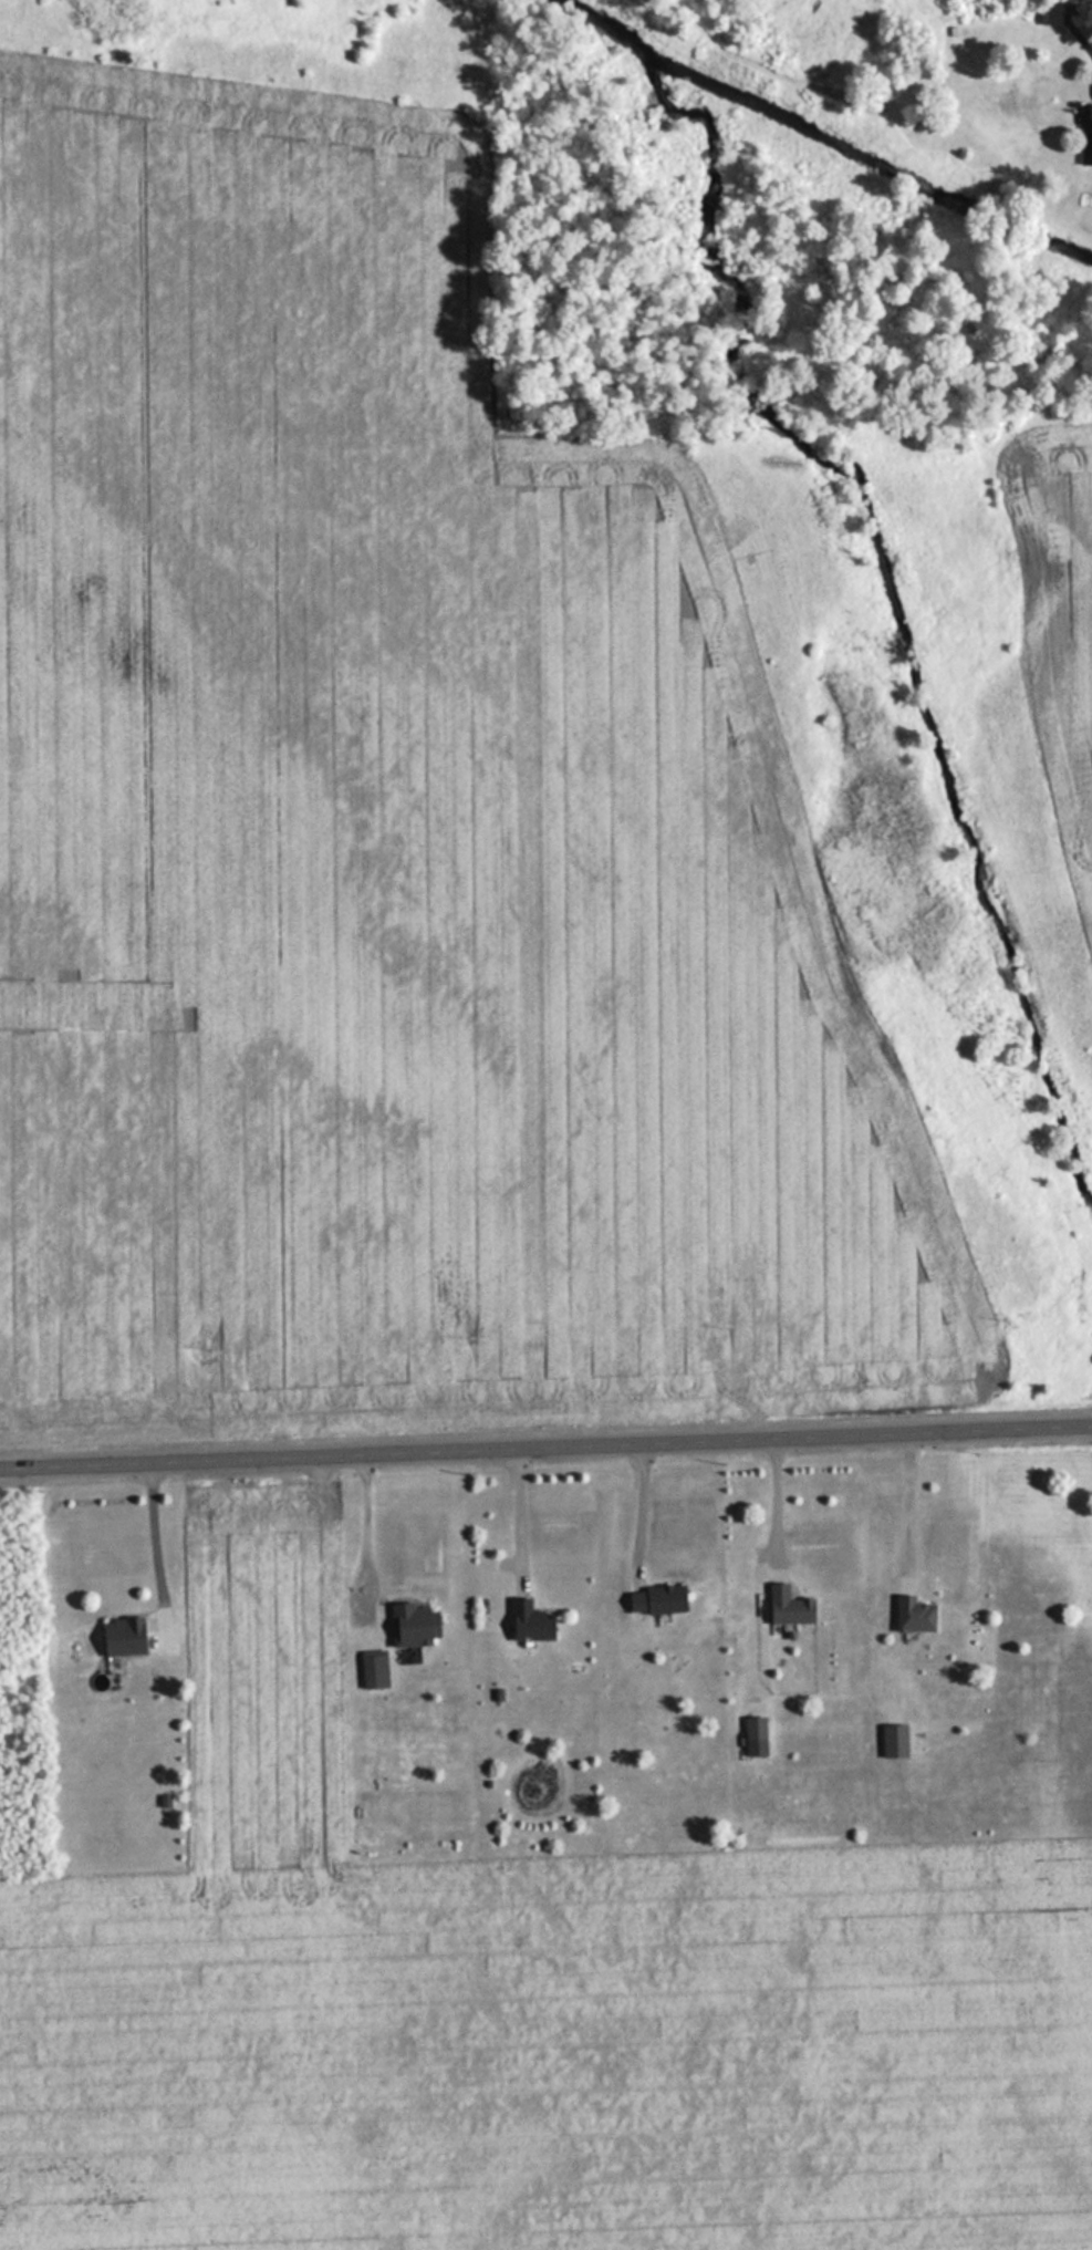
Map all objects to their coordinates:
river: (606, 28)
building: (1085, 141)
road: (545, 1438)
building: (655, 1598)
building: (788, 1605)
building: (912, 1614)
building: (529, 1620)
building: (412, 1624)
building: (121, 1635)
building: (753, 1727)
building: (892, 1739)

